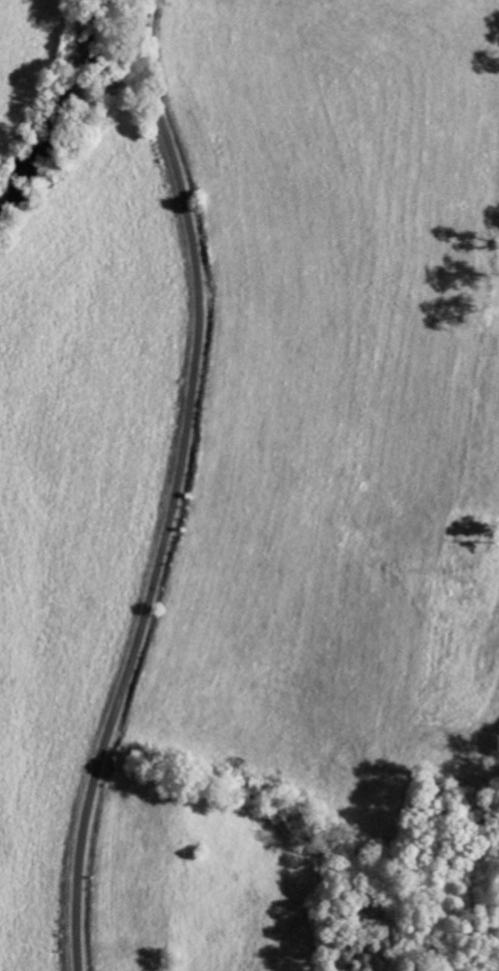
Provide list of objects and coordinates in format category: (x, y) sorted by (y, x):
road: (177, 487)

